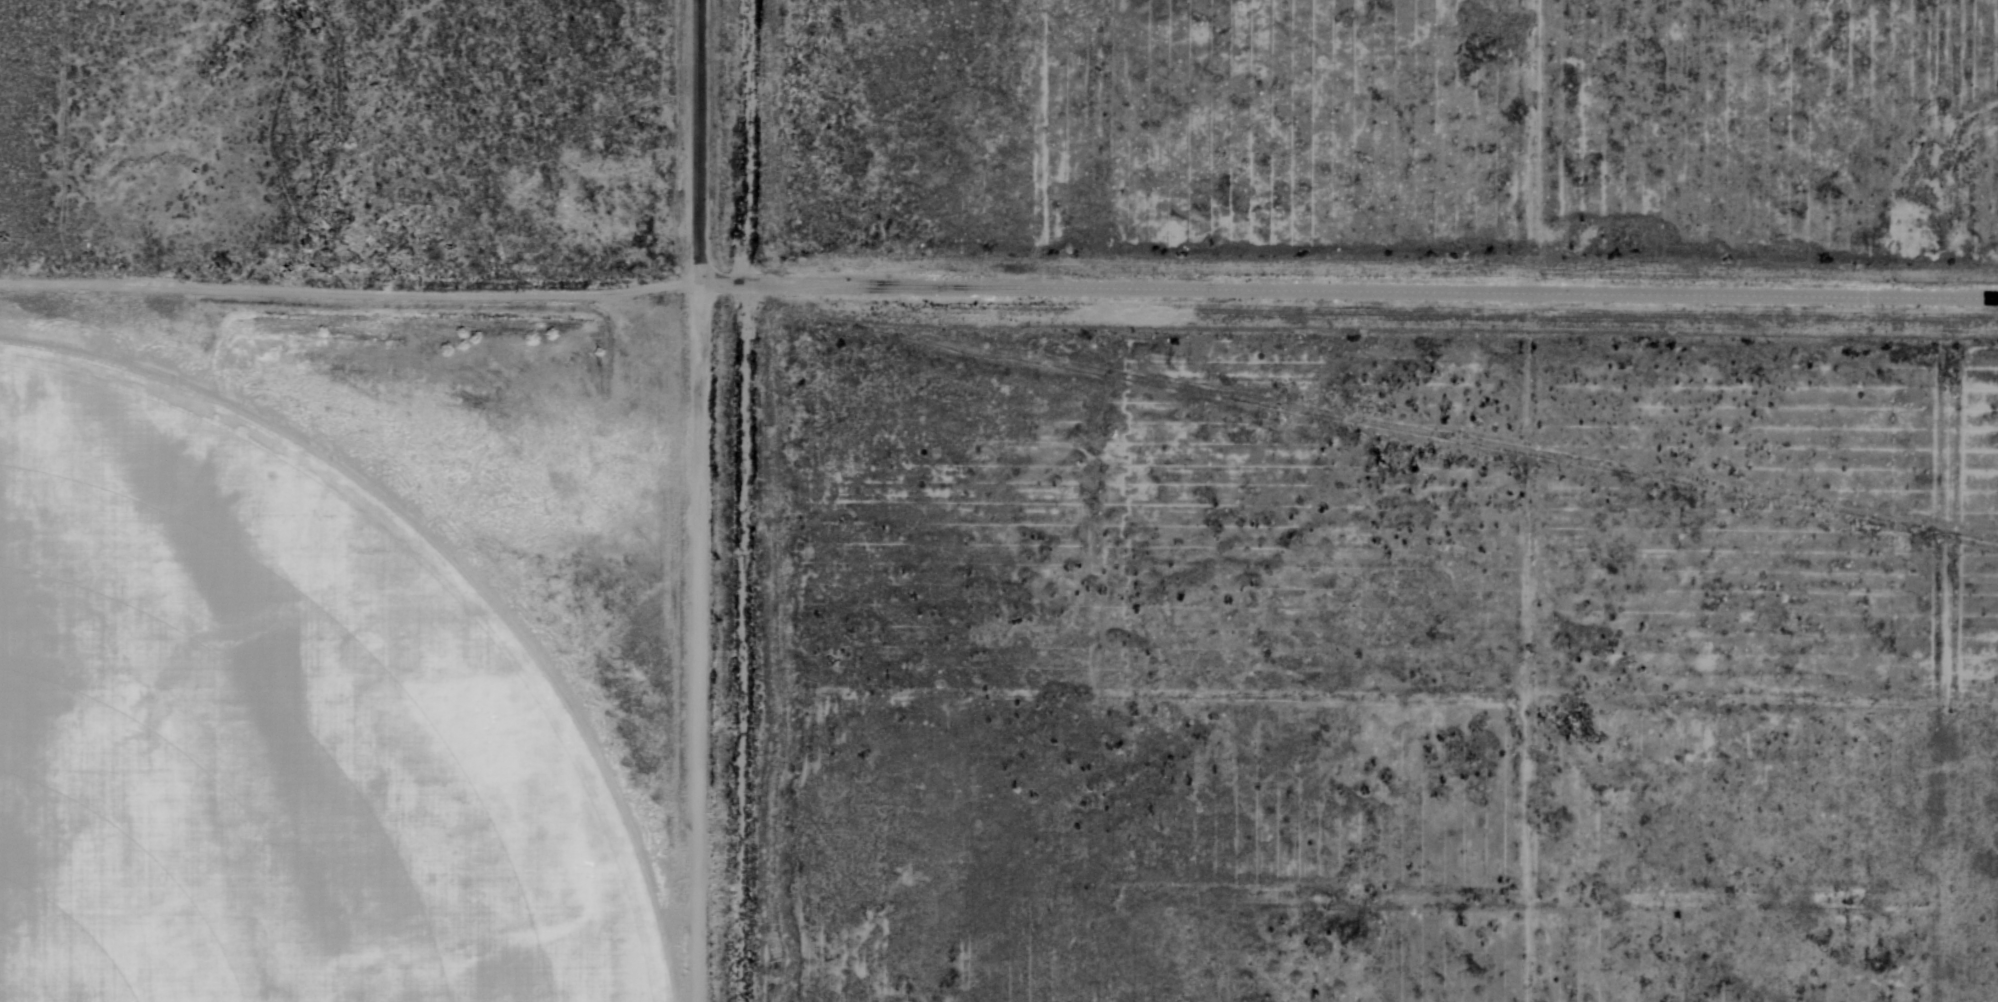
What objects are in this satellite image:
road: (693, 164)
road: (1372, 291)
road: (726, 501)
crop: (340, 647)

